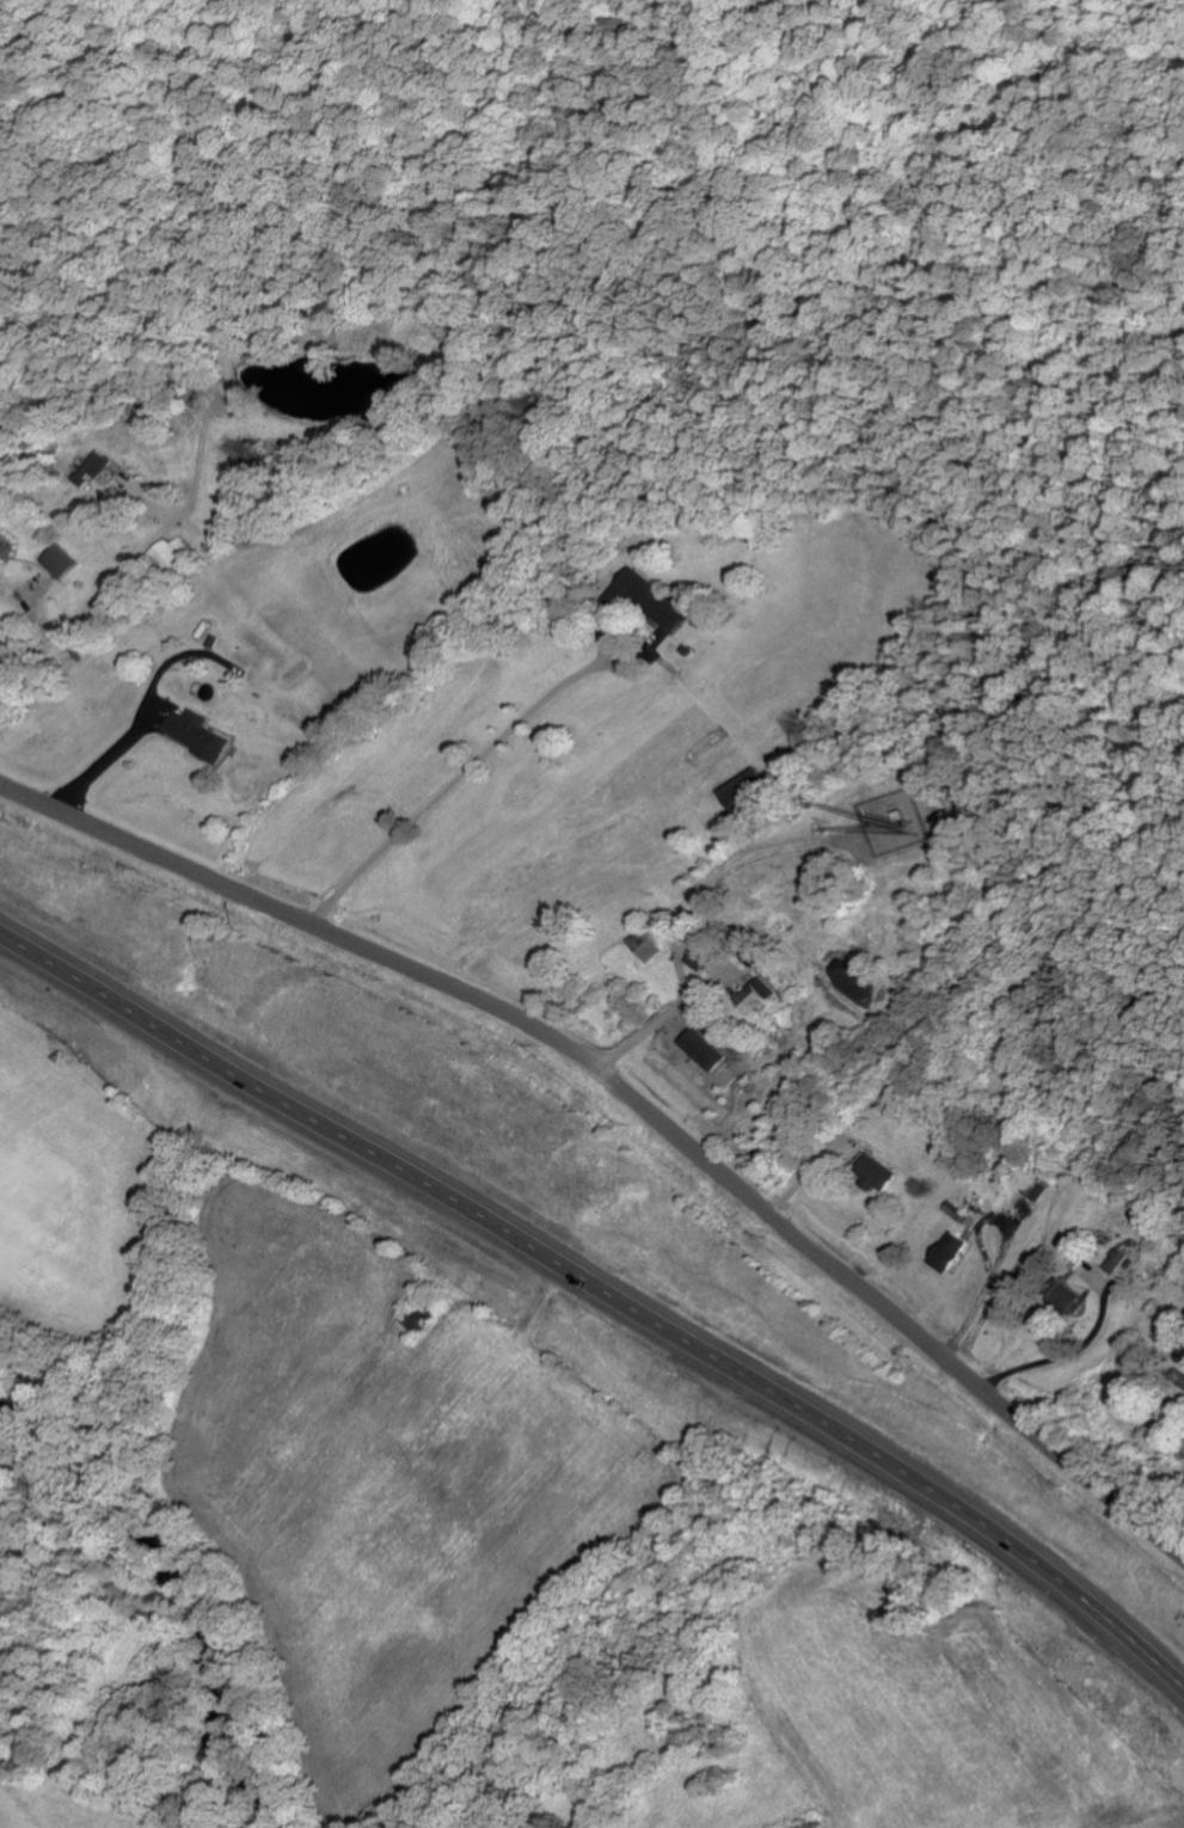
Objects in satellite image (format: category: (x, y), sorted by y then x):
building: (92, 468)
building: (60, 562)
building: (648, 601)
building: (198, 736)
building: (746, 791)
building: (698, 961)
building: (755, 996)
road: (636, 1106)
building: (875, 1172)
building: (1035, 1189)
building: (947, 1251)
building: (1117, 1265)
road: (606, 1296)

